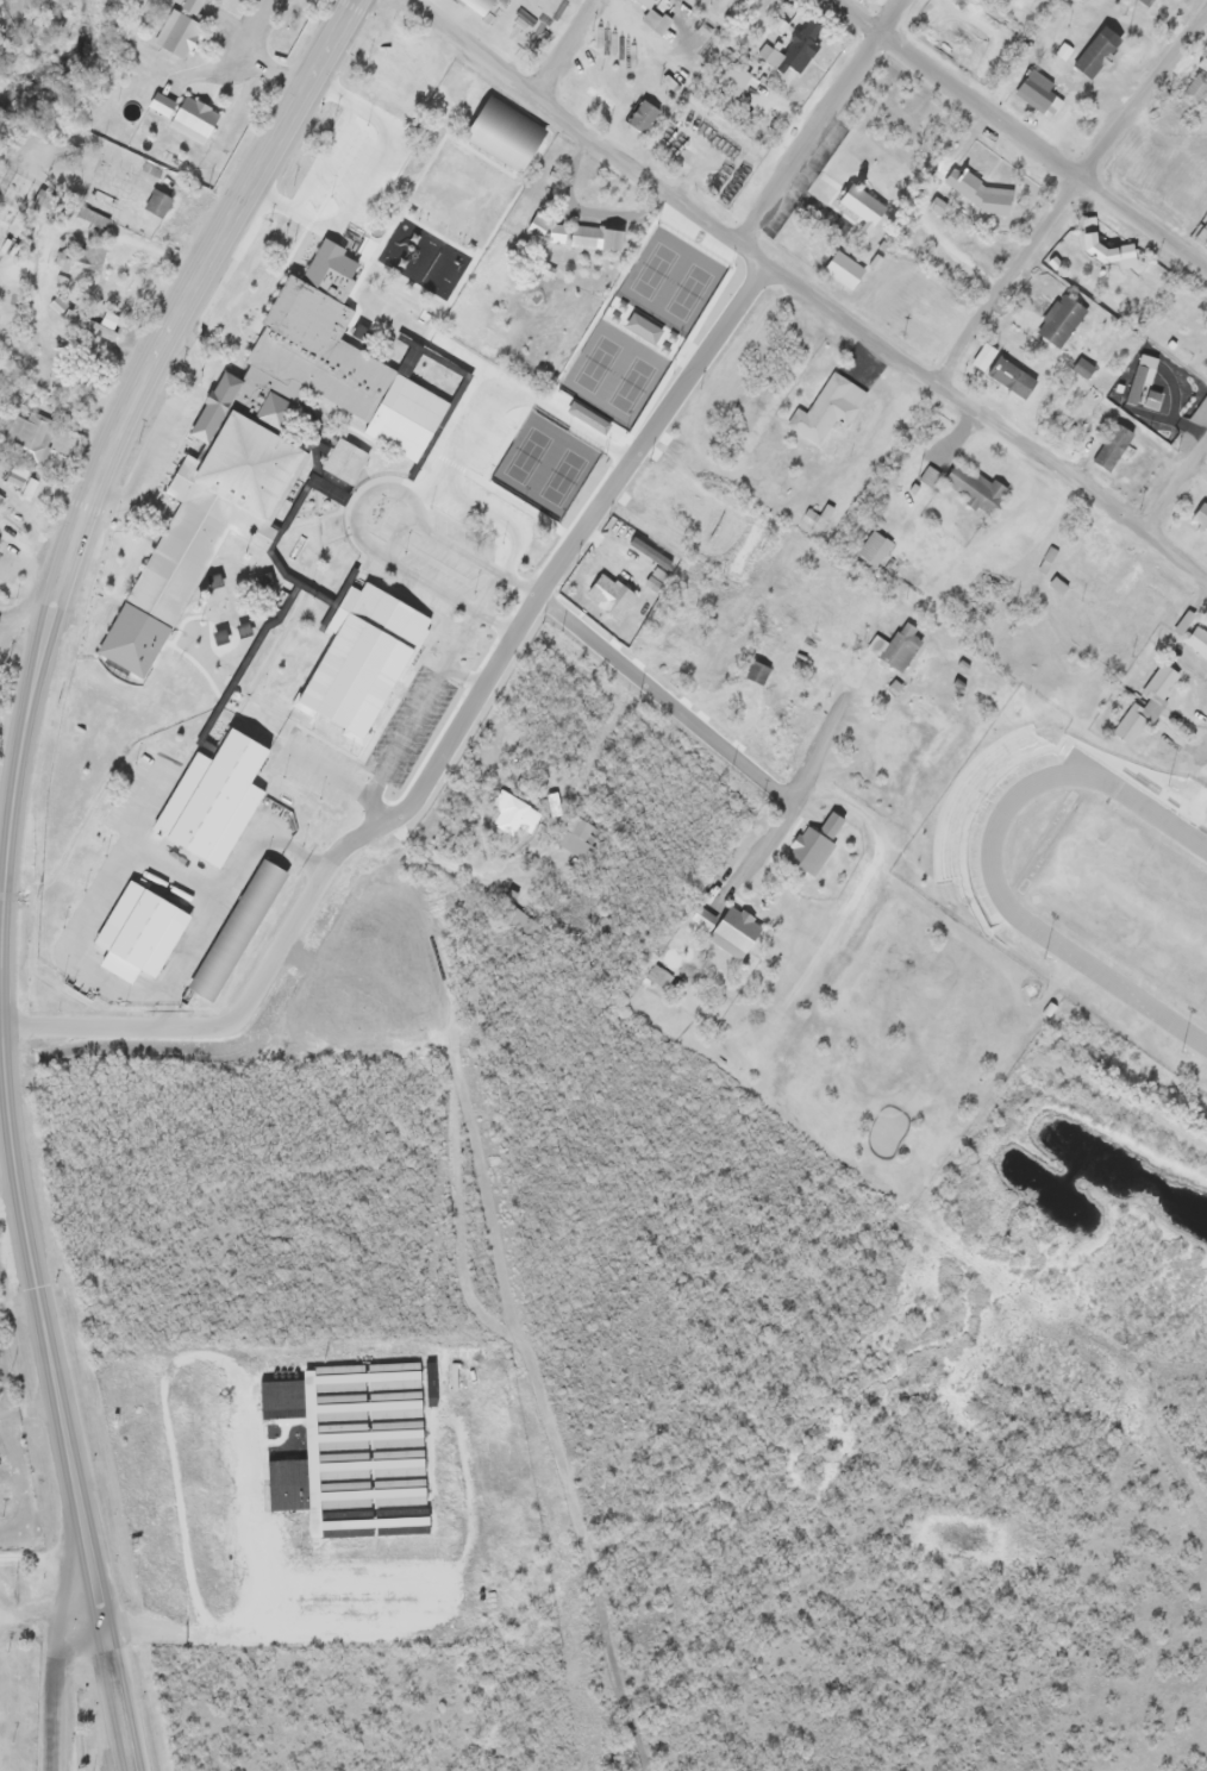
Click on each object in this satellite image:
building: (868, 0)
building: (1149, 1)
building: (648, 2)
building: (193, 6)
building: (480, 6)
building: (657, 21)
building: (780, 23)
building: (179, 32)
road: (559, 48)
building: (794, 48)
building: (1097, 51)
river: (56, 55)
road: (251, 61)
building: (1203, 61)
building: (579, 69)
building: (737, 74)
road: (220, 75)
building: (1196, 88)
building: (1039, 90)
building: (596, 99)
building: (163, 104)
building: (645, 114)
building: (195, 119)
road: (819, 121)
building: (506, 134)
road: (1018, 136)
building: (334, 177)
building: (554, 177)
building: (983, 193)
road: (1069, 196)
building: (160, 202)
building: (863, 205)
building: (938, 206)
building: (92, 217)
building: (539, 224)
building: (1090, 229)
building: (558, 233)
building: (596, 237)
building: (845, 268)
road: (802, 294)
building: (57, 303)
building: (661, 317)
building: (1062, 321)
building: (96, 323)
building: (644, 326)
building: (1084, 367)
building: (332, 374)
building: (1012, 375)
building: (1144, 384)
building: (827, 408)
road: (648, 431)
building: (32, 437)
building: (1113, 446)
park: (543, 469)
building: (975, 484)
road: (1176, 488)
building: (1201, 515)
building: (202, 530)
building: (514, 540)
building: (0, 543)
building: (0, 547)
building: (875, 547)
building: (651, 552)
building: (1074, 569)
building: (661, 572)
building: (655, 583)
building: (1058, 584)
building: (606, 597)
building: (227, 607)
building: (463, 618)
road: (19, 628)
building: (1199, 639)
building: (900, 646)
building: (363, 656)
building: (757, 670)
building: (1161, 680)
road: (696, 719)
building: (1130, 724)
road: (23, 745)
road: (1206, 766)
building: (212, 797)
building: (554, 803)
building: (513, 812)
building: (580, 839)
building: (815, 844)
road: (462, 872)
stadium: (1082, 877)
track: (1109, 889)
road: (317, 893)
park: (1136, 901)
building: (521, 921)
building: (237, 928)
building: (139, 931)
building: (736, 932)
building: (657, 976)
road: (2, 991)
building: (357, 1448)
road: (44, 1560)
road: (57, 1663)
road: (111, 1665)

